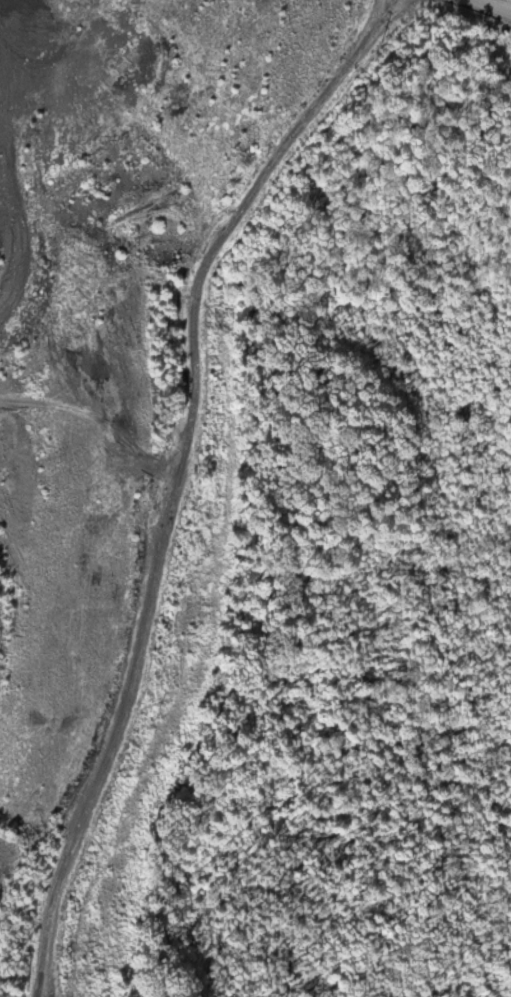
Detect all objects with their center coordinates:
road: (444, 40)
road: (97, 139)

